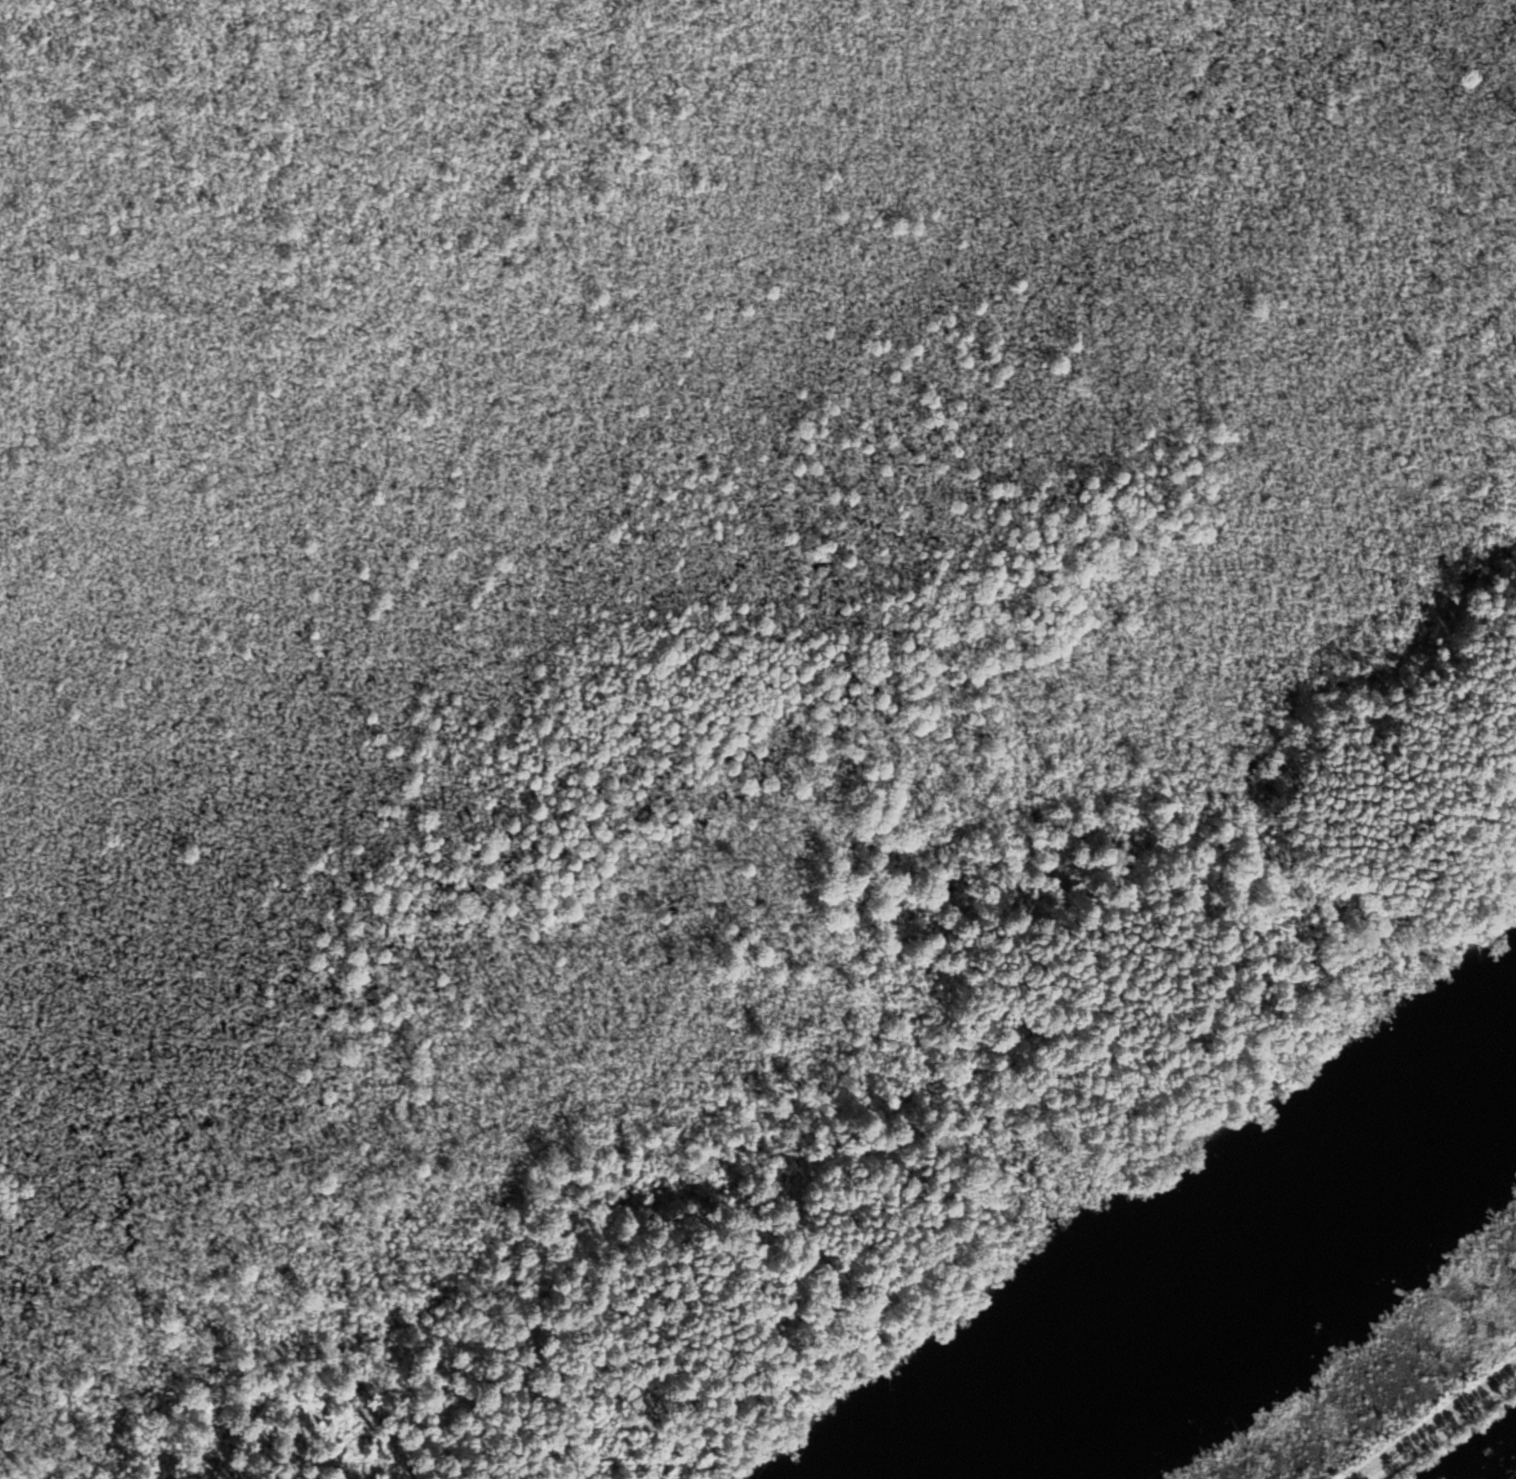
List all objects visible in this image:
road: (1429, 1415)

